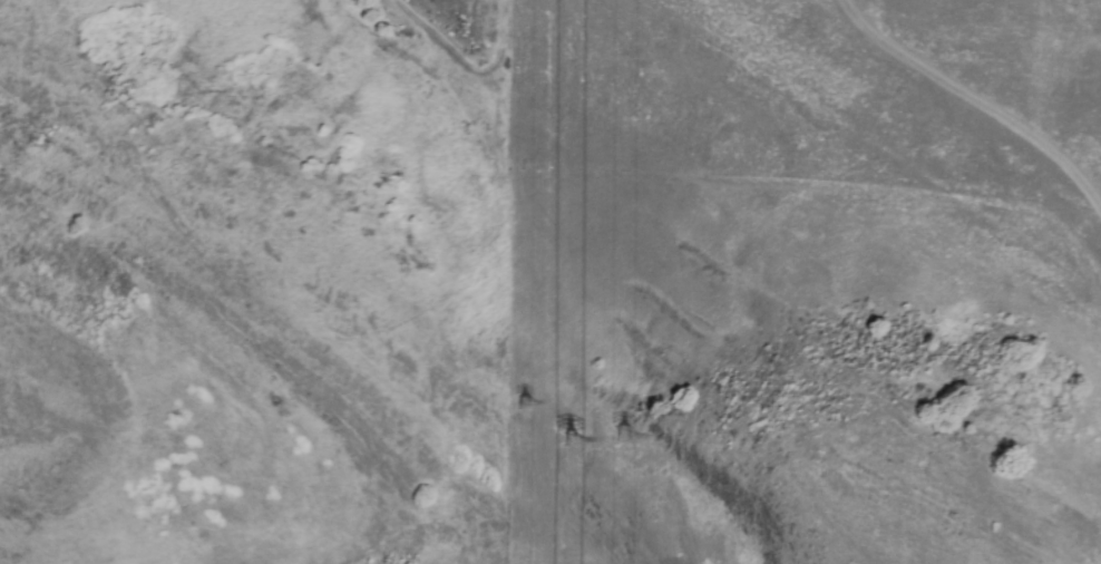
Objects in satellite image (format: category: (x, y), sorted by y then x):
road: (467, 76)
power tower: (527, 403)
power tower: (629, 425)
power tower: (573, 428)

